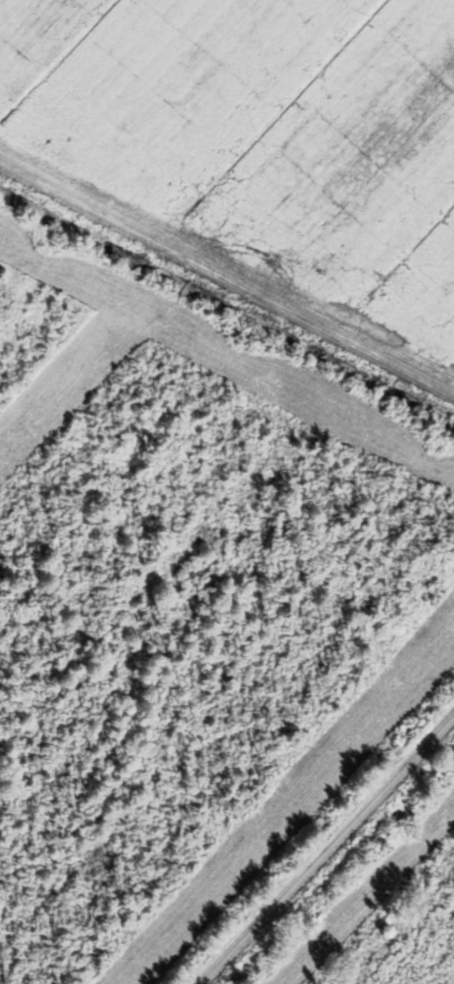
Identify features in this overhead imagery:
crop: (259, 142)
road: (227, 283)
road: (325, 848)

